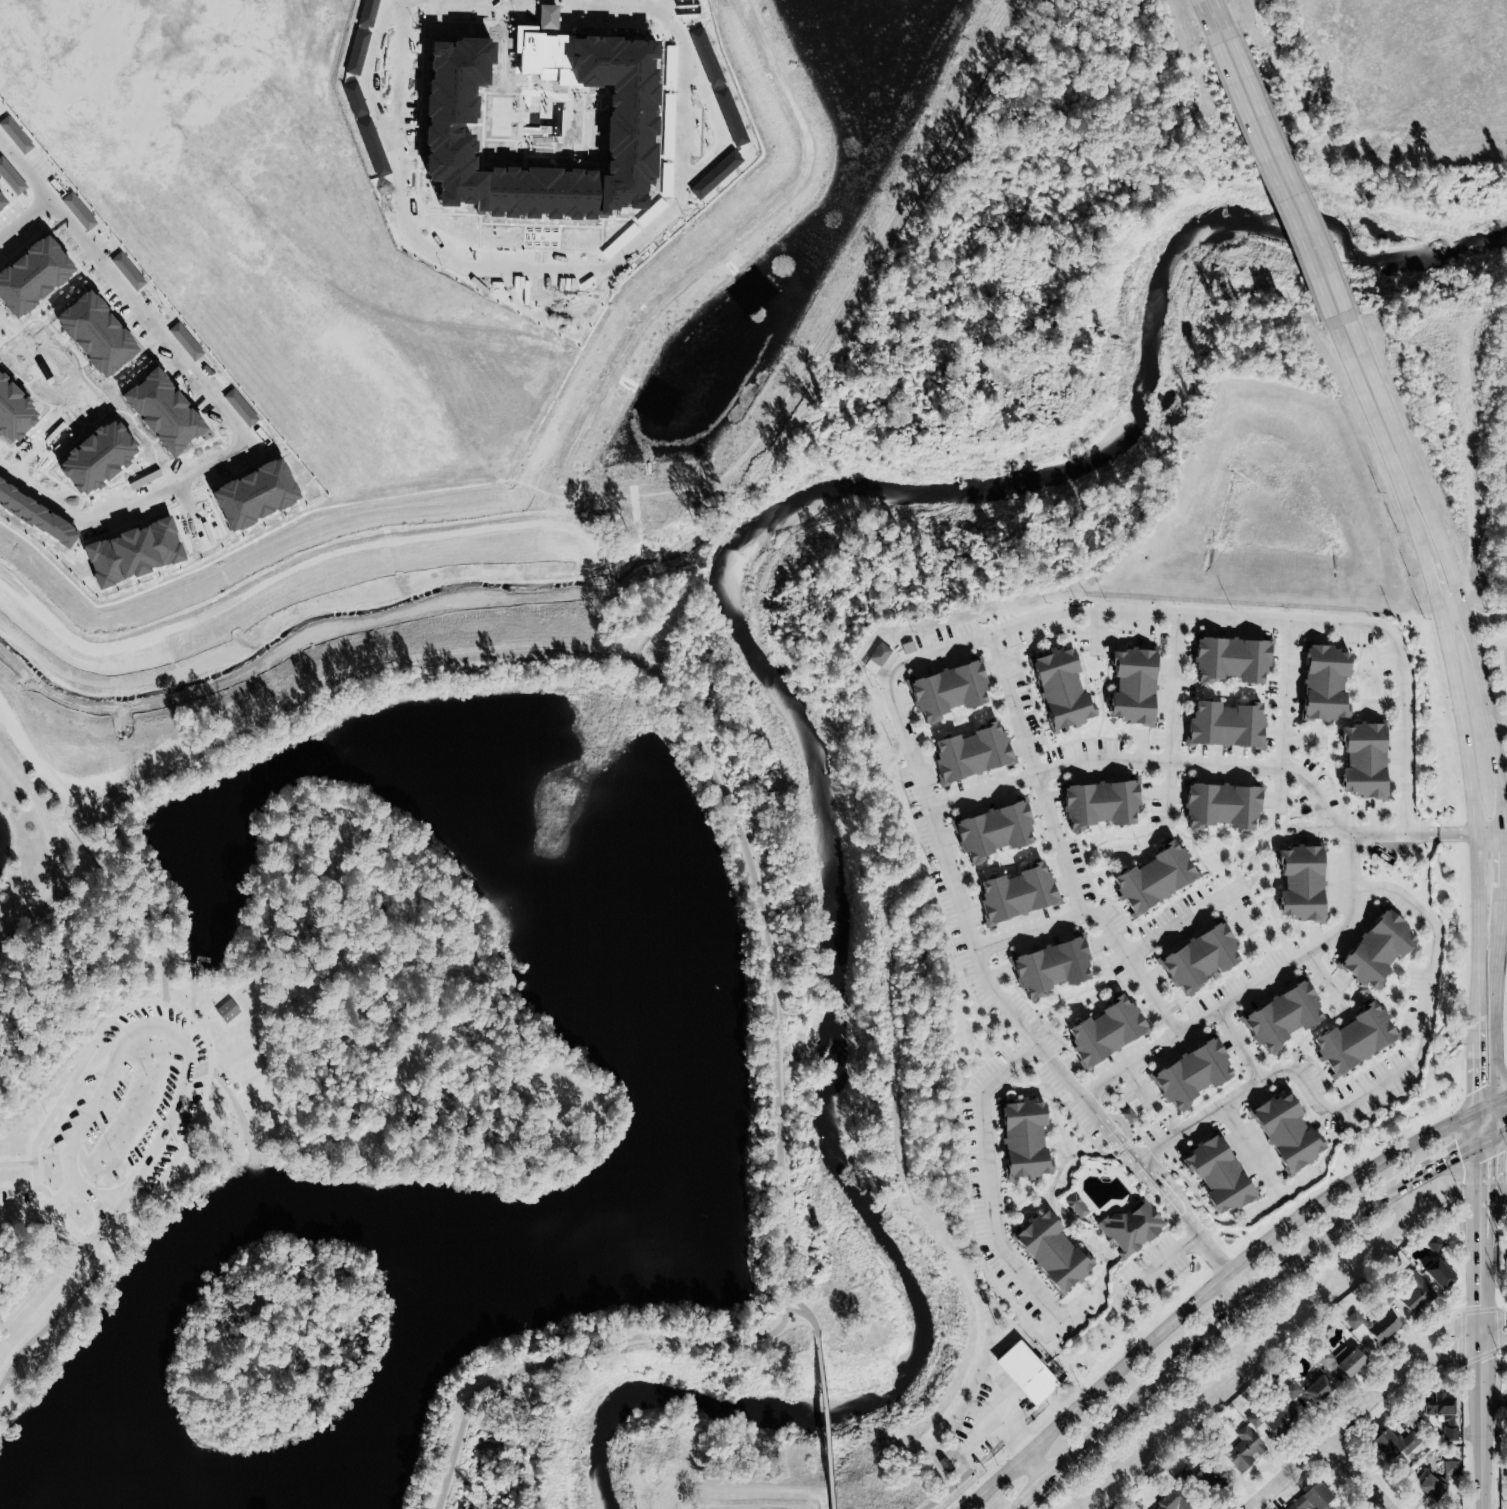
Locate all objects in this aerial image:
road: (489, 0)
road: (618, 3)
road: (1210, 15)
road: (1213, 15)
building: (459, 75)
road: (1304, 127)
road: (1281, 178)
road: (45, 192)
road: (527, 266)
road: (236, 424)
road: (1406, 467)
road: (623, 504)
road: (1480, 614)
building: (909, 647)
parking lot: (1504, 650)
building: (877, 658)
road: (918, 658)
building: (1225, 661)
building: (1319, 683)
building: (1124, 685)
building: (1053, 687)
road: (1176, 689)
building: (942, 692)
road: (1287, 696)
river: (775, 706)
road: (1498, 719)
road: (1462, 722)
building: (1221, 725)
building: (964, 750)
building: (1356, 763)
road: (1214, 765)
road: (51, 778)
building: (1095, 803)
building: (1216, 805)
road: (729, 819)
road: (1503, 826)
building: (988, 828)
road: (1489, 829)
road: (54, 842)
road: (1062, 849)
road: (1499, 862)
building: (1147, 876)
building: (1295, 880)
building: (1010, 891)
road: (1188, 920)
road: (1028, 930)
road: (1479, 935)
road: (1503, 936)
building: (1372, 949)
building: (1194, 957)
building: (1046, 967)
road: (1254, 987)
building: (227, 1011)
building: (1276, 1016)
parking lot: (145, 1023)
building: (1098, 1029)
road: (200, 1031)
building: (1349, 1038)
road: (1240, 1046)
parking lot: (200, 1055)
building: (1187, 1072)
road: (1480, 1077)
traffic signals: (1480, 1088)
road: (1367, 1090)
road: (100, 1093)
road: (1493, 1107)
parking lot: (109, 1108)
parking lot: (72, 1109)
park: (457, 1109)
parking lot: (155, 1125)
road: (182, 1125)
road: (1480, 1129)
building: (1280, 1132)
building: (1017, 1137)
road: (1493, 1138)
road: (1248, 1141)
parking lot: (178, 1155)
traffic signals: (1459, 1155)
traffic signals: (1480, 1161)
road: (1437, 1165)
road: (29, 1166)
building: (1211, 1177)
road: (987, 1181)
road: (1480, 1181)
road: (1493, 1181)
parking lot: (12, 1200)
road: (99, 1201)
building: (1073, 1205)
road: (41, 1209)
road: (61, 1211)
building: (1127, 1226)
road: (1318, 1240)
building: (1432, 1244)
building: (1044, 1249)
road: (1212, 1255)
road: (1170, 1256)
building: (1505, 1273)
building: (1436, 1274)
road: (1479, 1279)
road: (59, 1282)
road: (1236, 1285)
road: (1209, 1290)
building: (1415, 1295)
road: (1219, 1319)
road: (47, 1323)
building: (1373, 1325)
road: (797, 1327)
road: (809, 1327)
road: (1442, 1331)
road: (1448, 1349)
building: (1323, 1358)
building: (1347, 1363)
building: (1019, 1372)
road: (1479, 1372)
building: (1306, 1390)
building: (1440, 1413)
building: (1280, 1419)
parking lot: (984, 1425)
road: (1103, 1425)
road: (826, 1433)
road: (1322, 1442)
building: (1242, 1450)
road: (1027, 1454)
road: (1481, 1456)
building: (1505, 1467)
building: (1449, 1468)
road: (1357, 1474)
building: (1222, 1483)
road: (930, 1488)
building: (1428, 1488)
building: (1312, 1499)
building: (1168, 1502)

